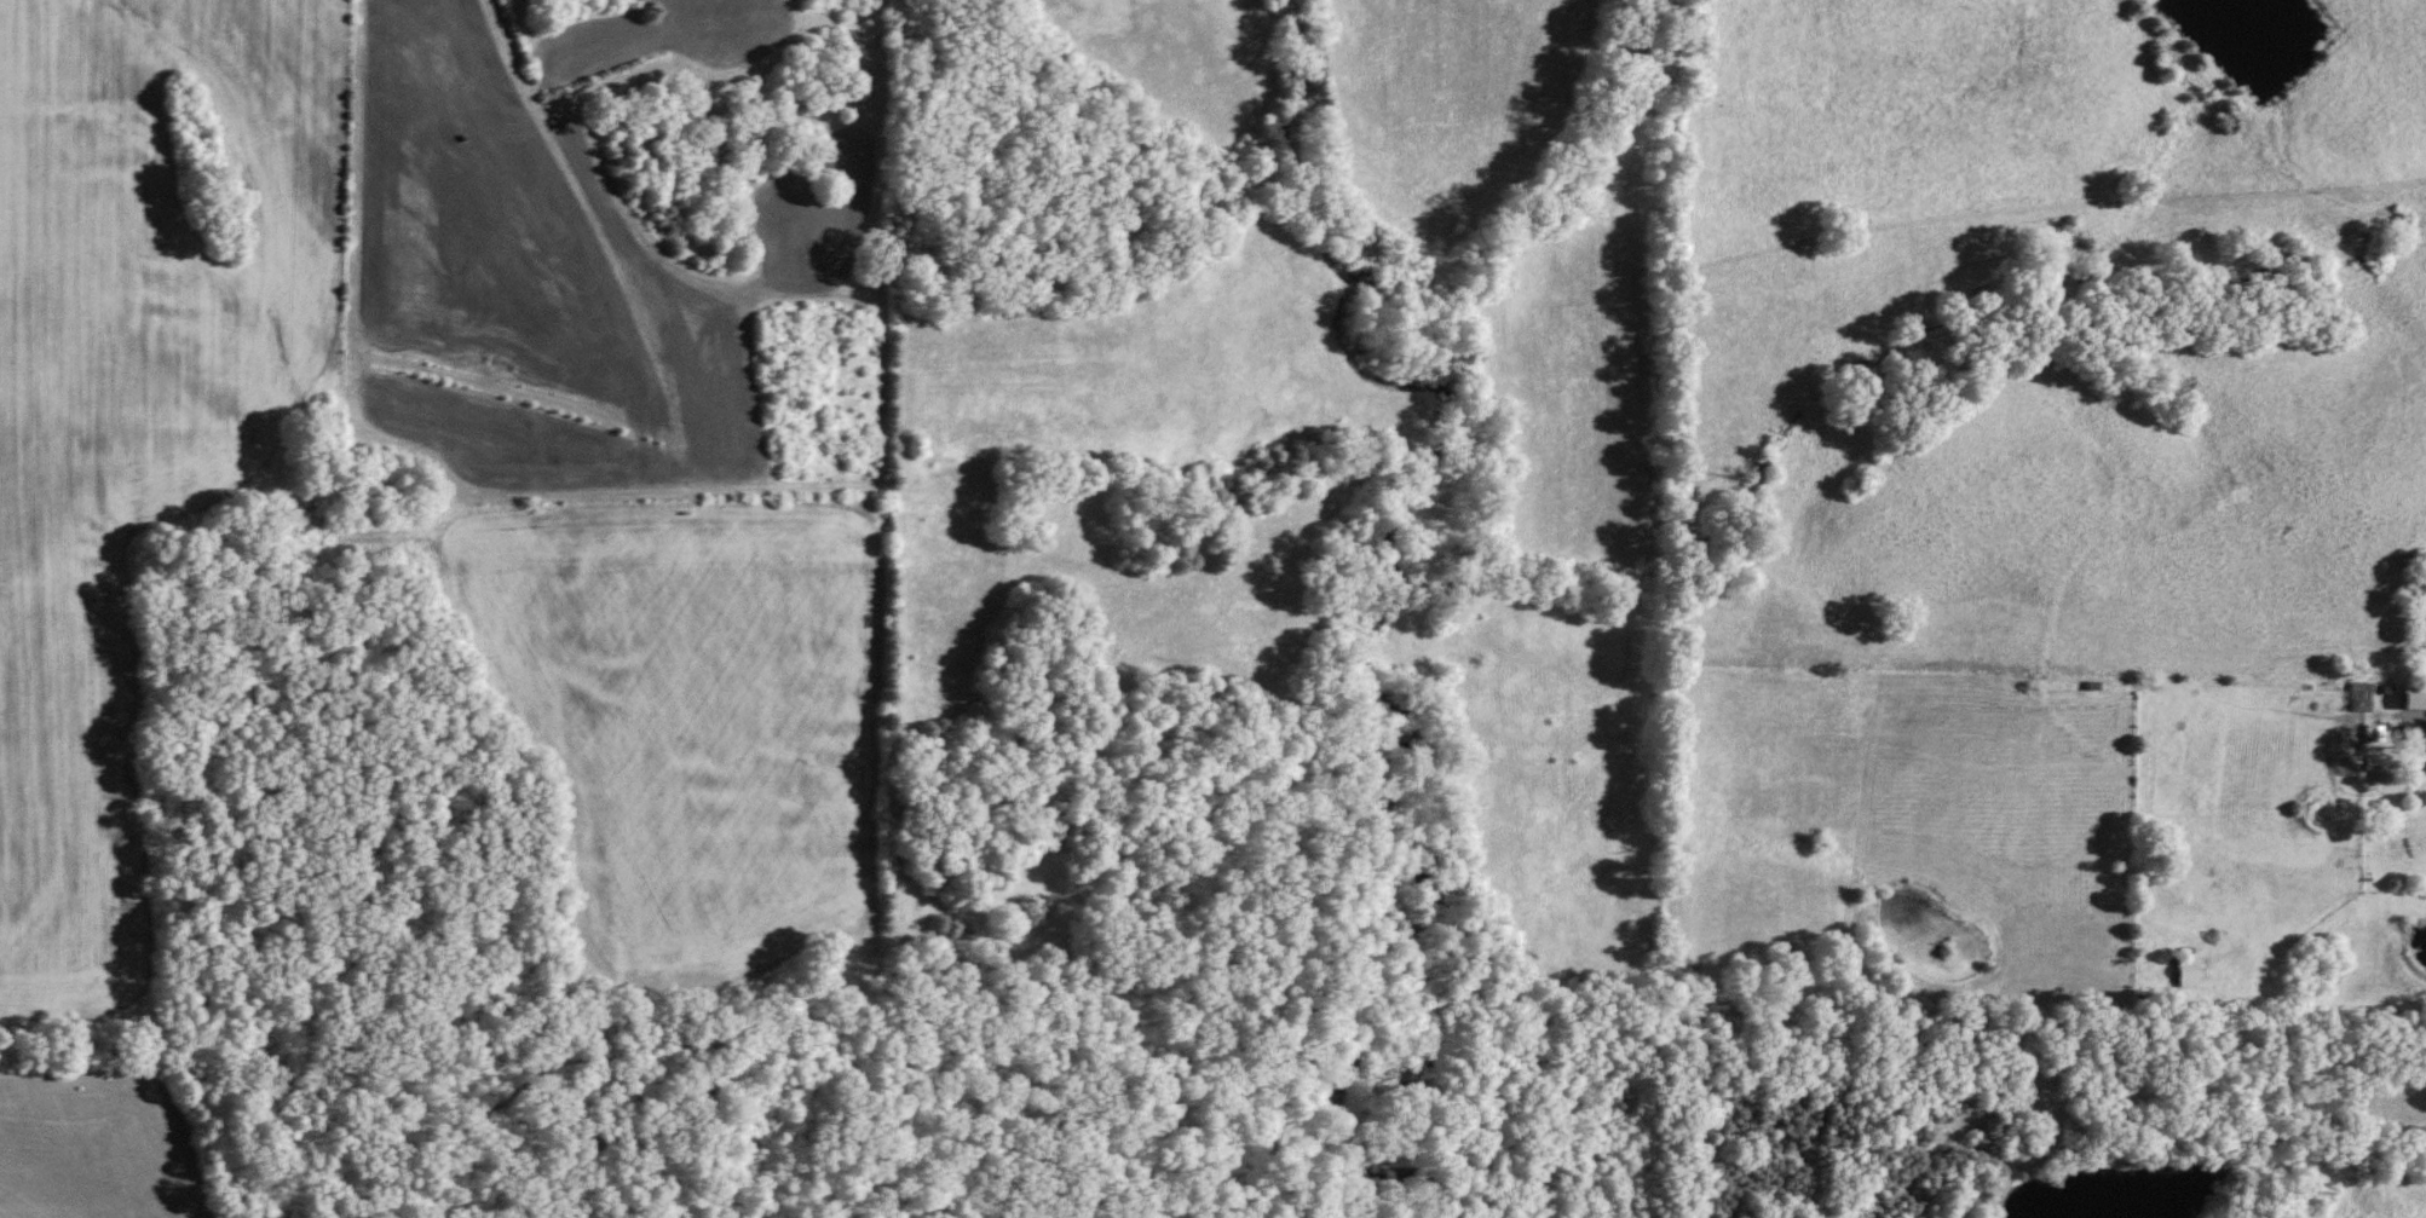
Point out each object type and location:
building: (2424, 595)
building: (2424, 662)
building: (2358, 692)
building: (2372, 732)
building: (2409, 734)
building: (2374, 760)
building: (2186, 971)

